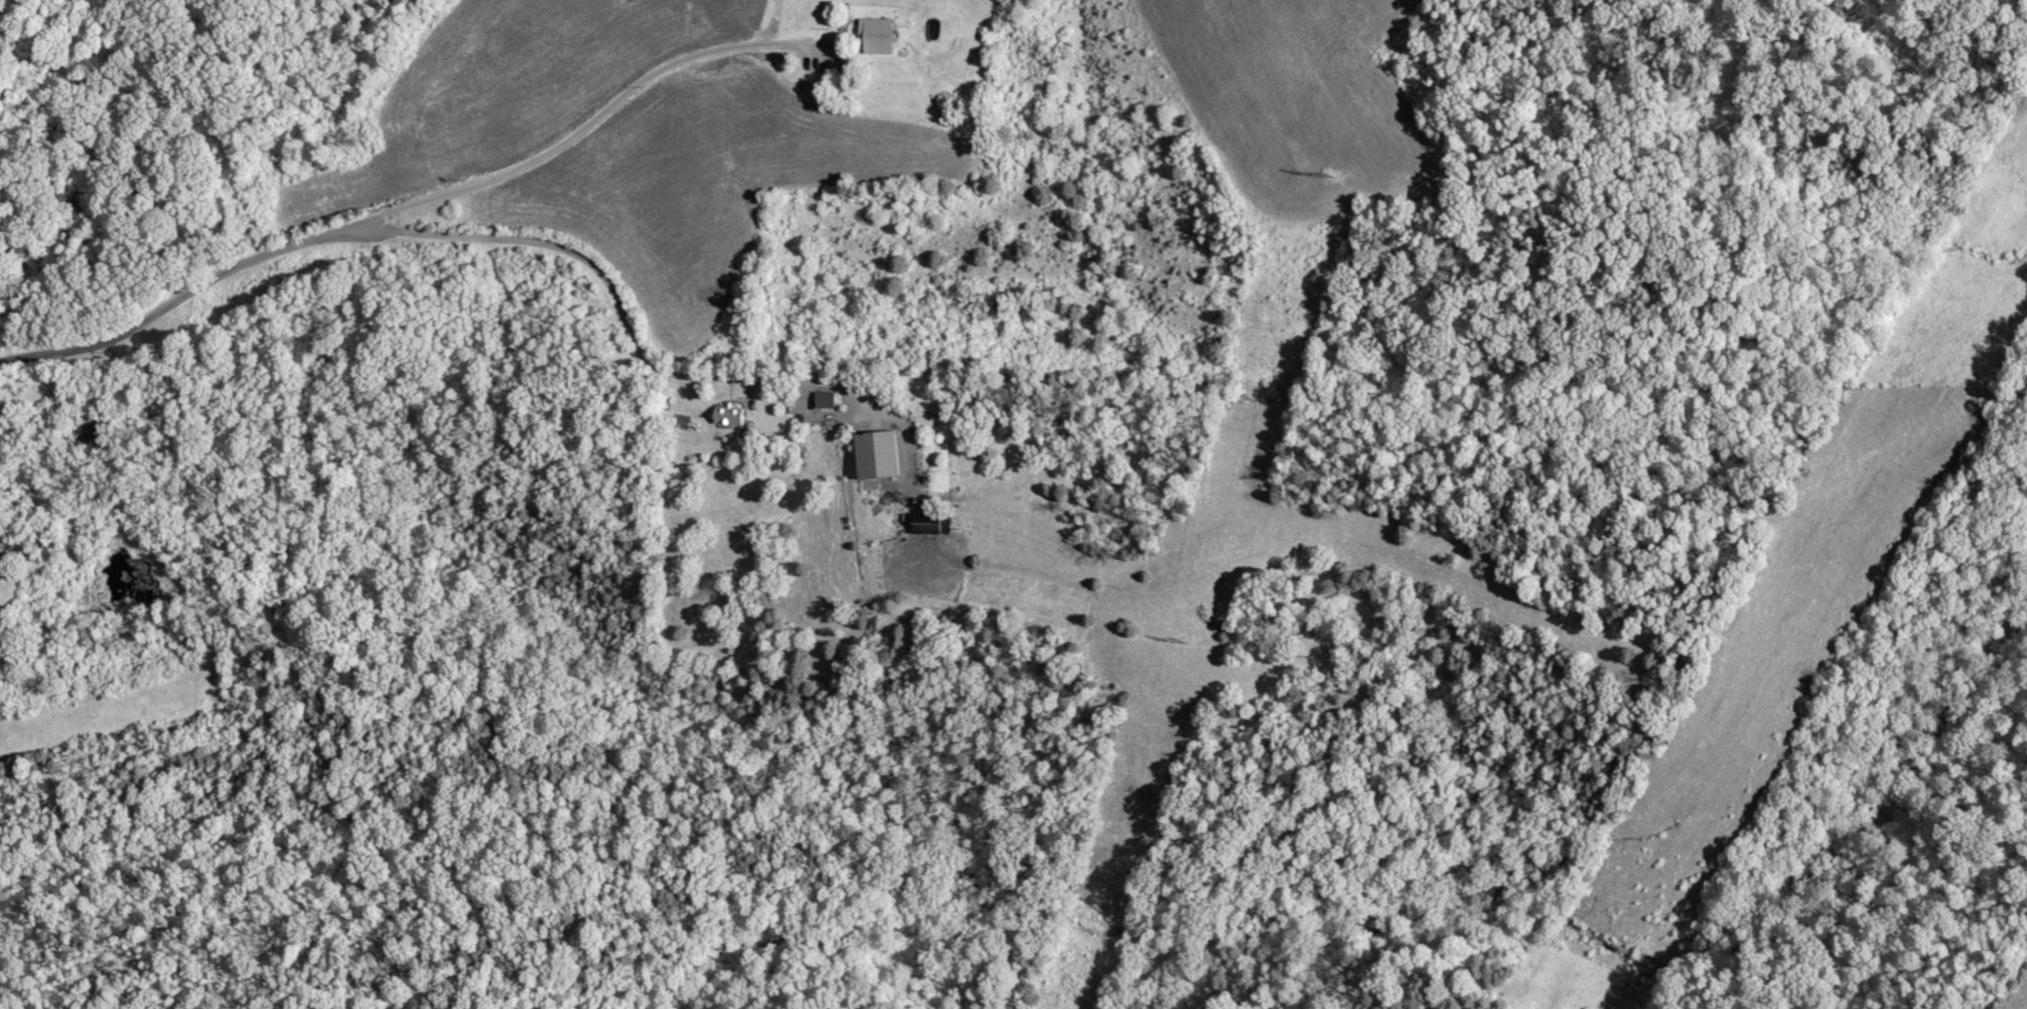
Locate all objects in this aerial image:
building: (879, 36)
road: (428, 219)
road: (606, 286)
building: (828, 400)
building: (731, 415)
building: (879, 455)
building: (929, 523)

